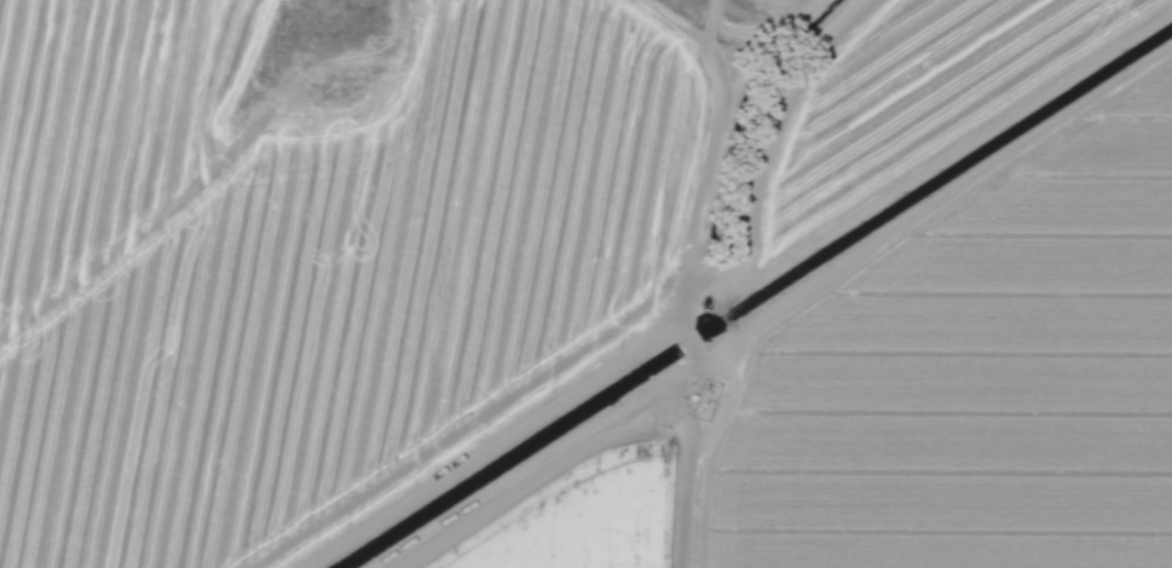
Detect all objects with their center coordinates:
road: (687, 459)

